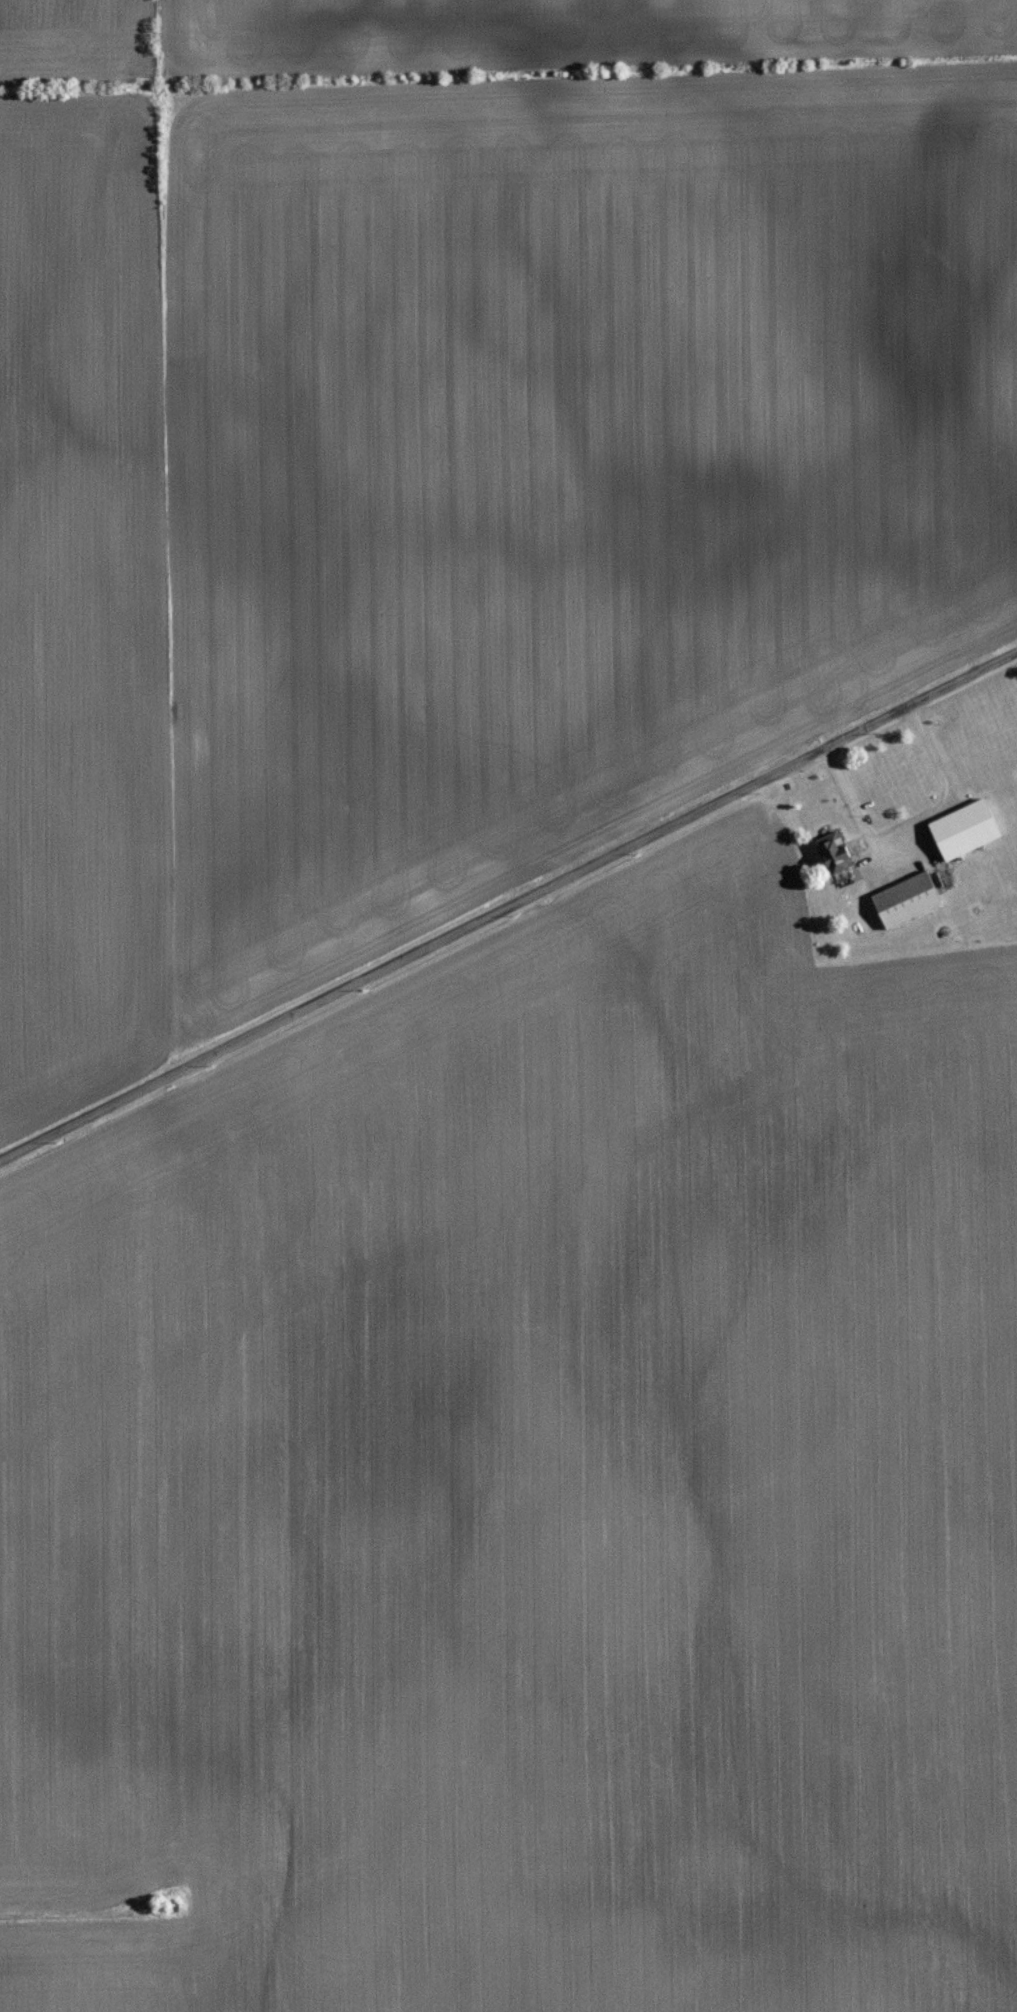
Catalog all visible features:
road: (912, 818)
building: (959, 829)
building: (829, 852)
building: (901, 900)
road: (508, 903)

